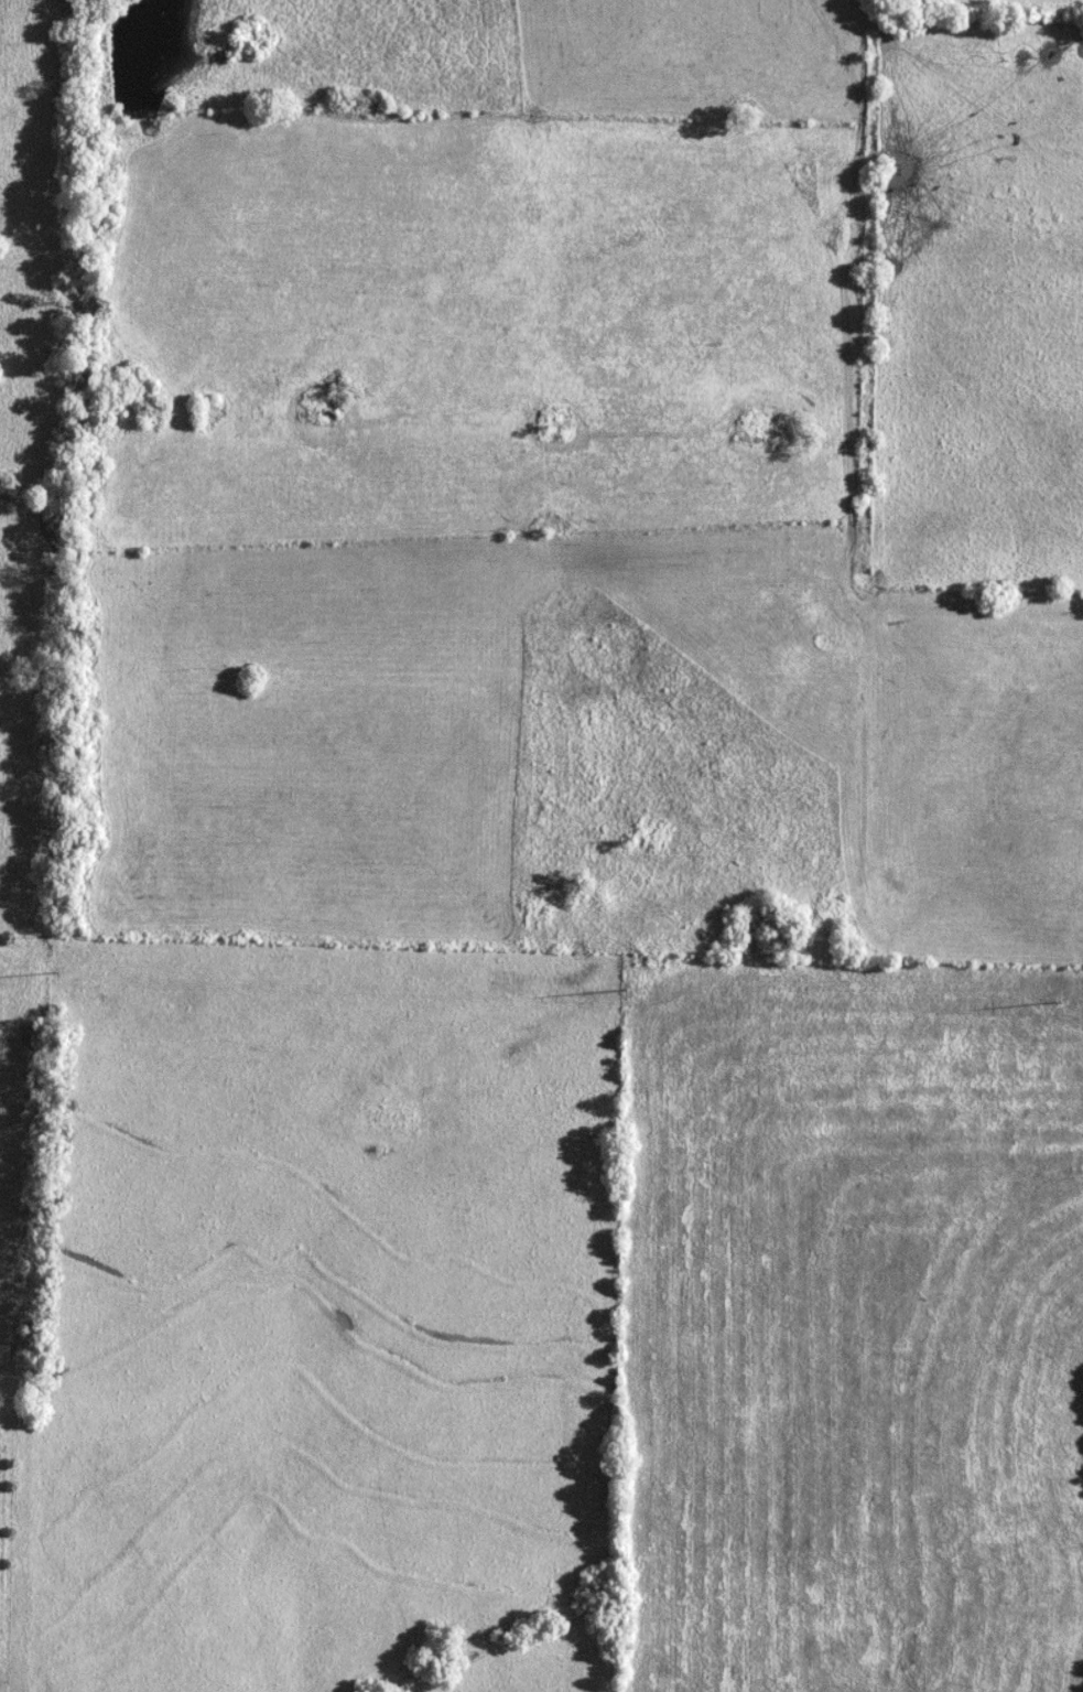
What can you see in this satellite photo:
crop: (849, 1328)

